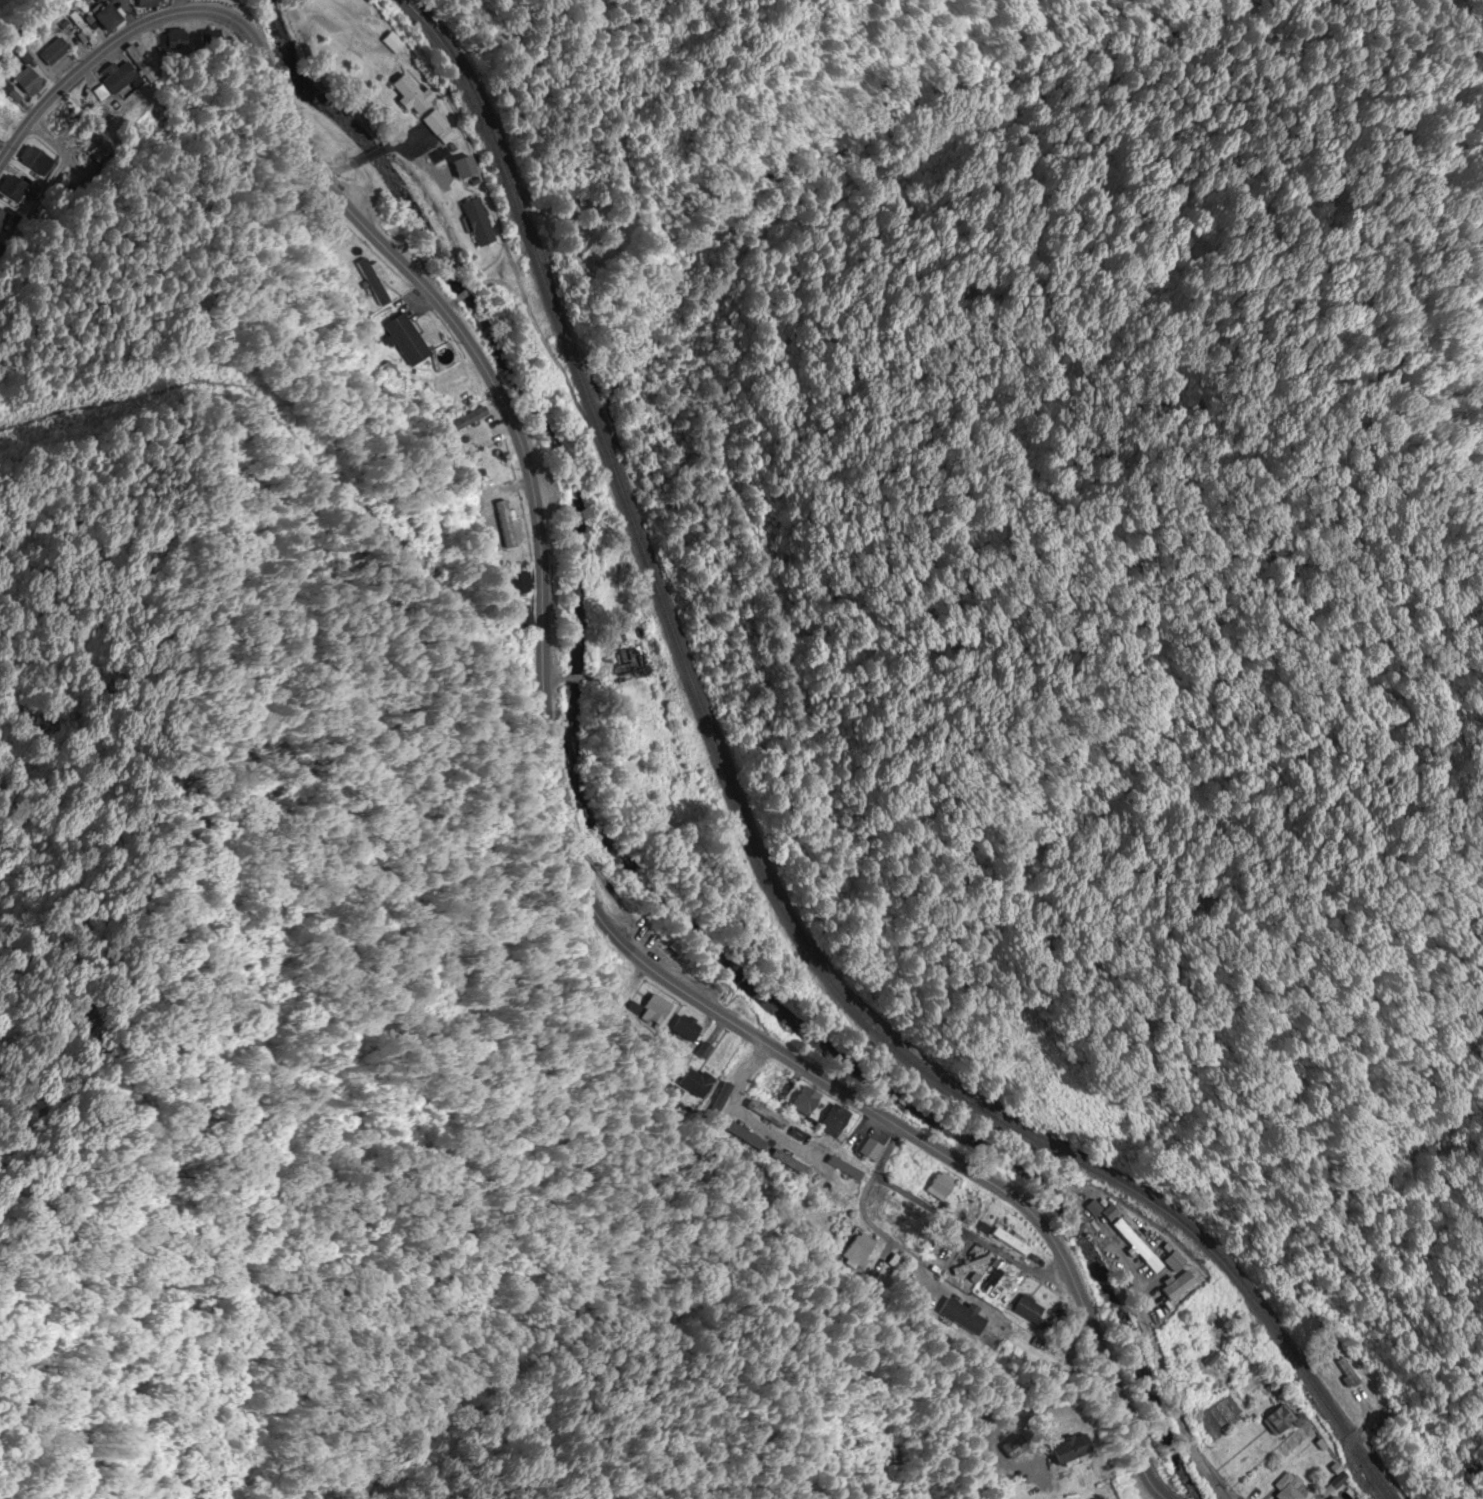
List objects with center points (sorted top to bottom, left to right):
building: (133, 0)
building: (149, 2)
building: (110, 15)
building: (81, 29)
building: (177, 39)
building: (392, 43)
building: (53, 51)
building: (23, 54)
building: (140, 63)
building: (28, 79)
building: (117, 79)
building: (423, 105)
building: (65, 113)
building: (6, 118)
building: (36, 158)
road: (369, 159)
building: (466, 165)
road: (333, 170)
building: (13, 185)
building: (2, 218)
building: (479, 220)
road: (488, 271)
building: (373, 281)
road: (466, 293)
road: (450, 305)
road: (458, 330)
building: (405, 338)
building: (468, 417)
building: (506, 523)
building: (503, 524)
building: (521, 581)
building: (633, 659)
railway: (751, 855)
building: (657, 1007)
building: (688, 1025)
building: (671, 1065)
building: (698, 1079)
building: (775, 1079)
building: (805, 1099)
building: (720, 1106)
building: (767, 1112)
road: (746, 1116)
building: (834, 1117)
building: (743, 1137)
building: (868, 1151)
building: (791, 1163)
building: (910, 1166)
building: (846, 1167)
road: (975, 1173)
building: (942, 1185)
building: (832, 1191)
building: (969, 1202)
building: (1091, 1208)
building: (891, 1212)
building: (1109, 1212)
road: (867, 1214)
building: (1092, 1219)
road: (1090, 1226)
building: (982, 1228)
road: (1073, 1234)
road: (968, 1237)
road: (1059, 1240)
building: (1008, 1241)
building: (1134, 1245)
building: (857, 1251)
building: (1146, 1253)
building: (1172, 1260)
building: (896, 1262)
building: (976, 1263)
building: (1176, 1283)
building: (1005, 1284)
building: (1155, 1291)
building: (1025, 1306)
building: (963, 1315)
building: (1346, 1369)
road: (1037, 1379)
road: (1172, 1413)
road: (1368, 1417)
building: (1279, 1418)
building: (1015, 1447)
building: (1077, 1447)
building: (1478, 1481)
building: (1283, 1486)
building: (1329, 1497)

